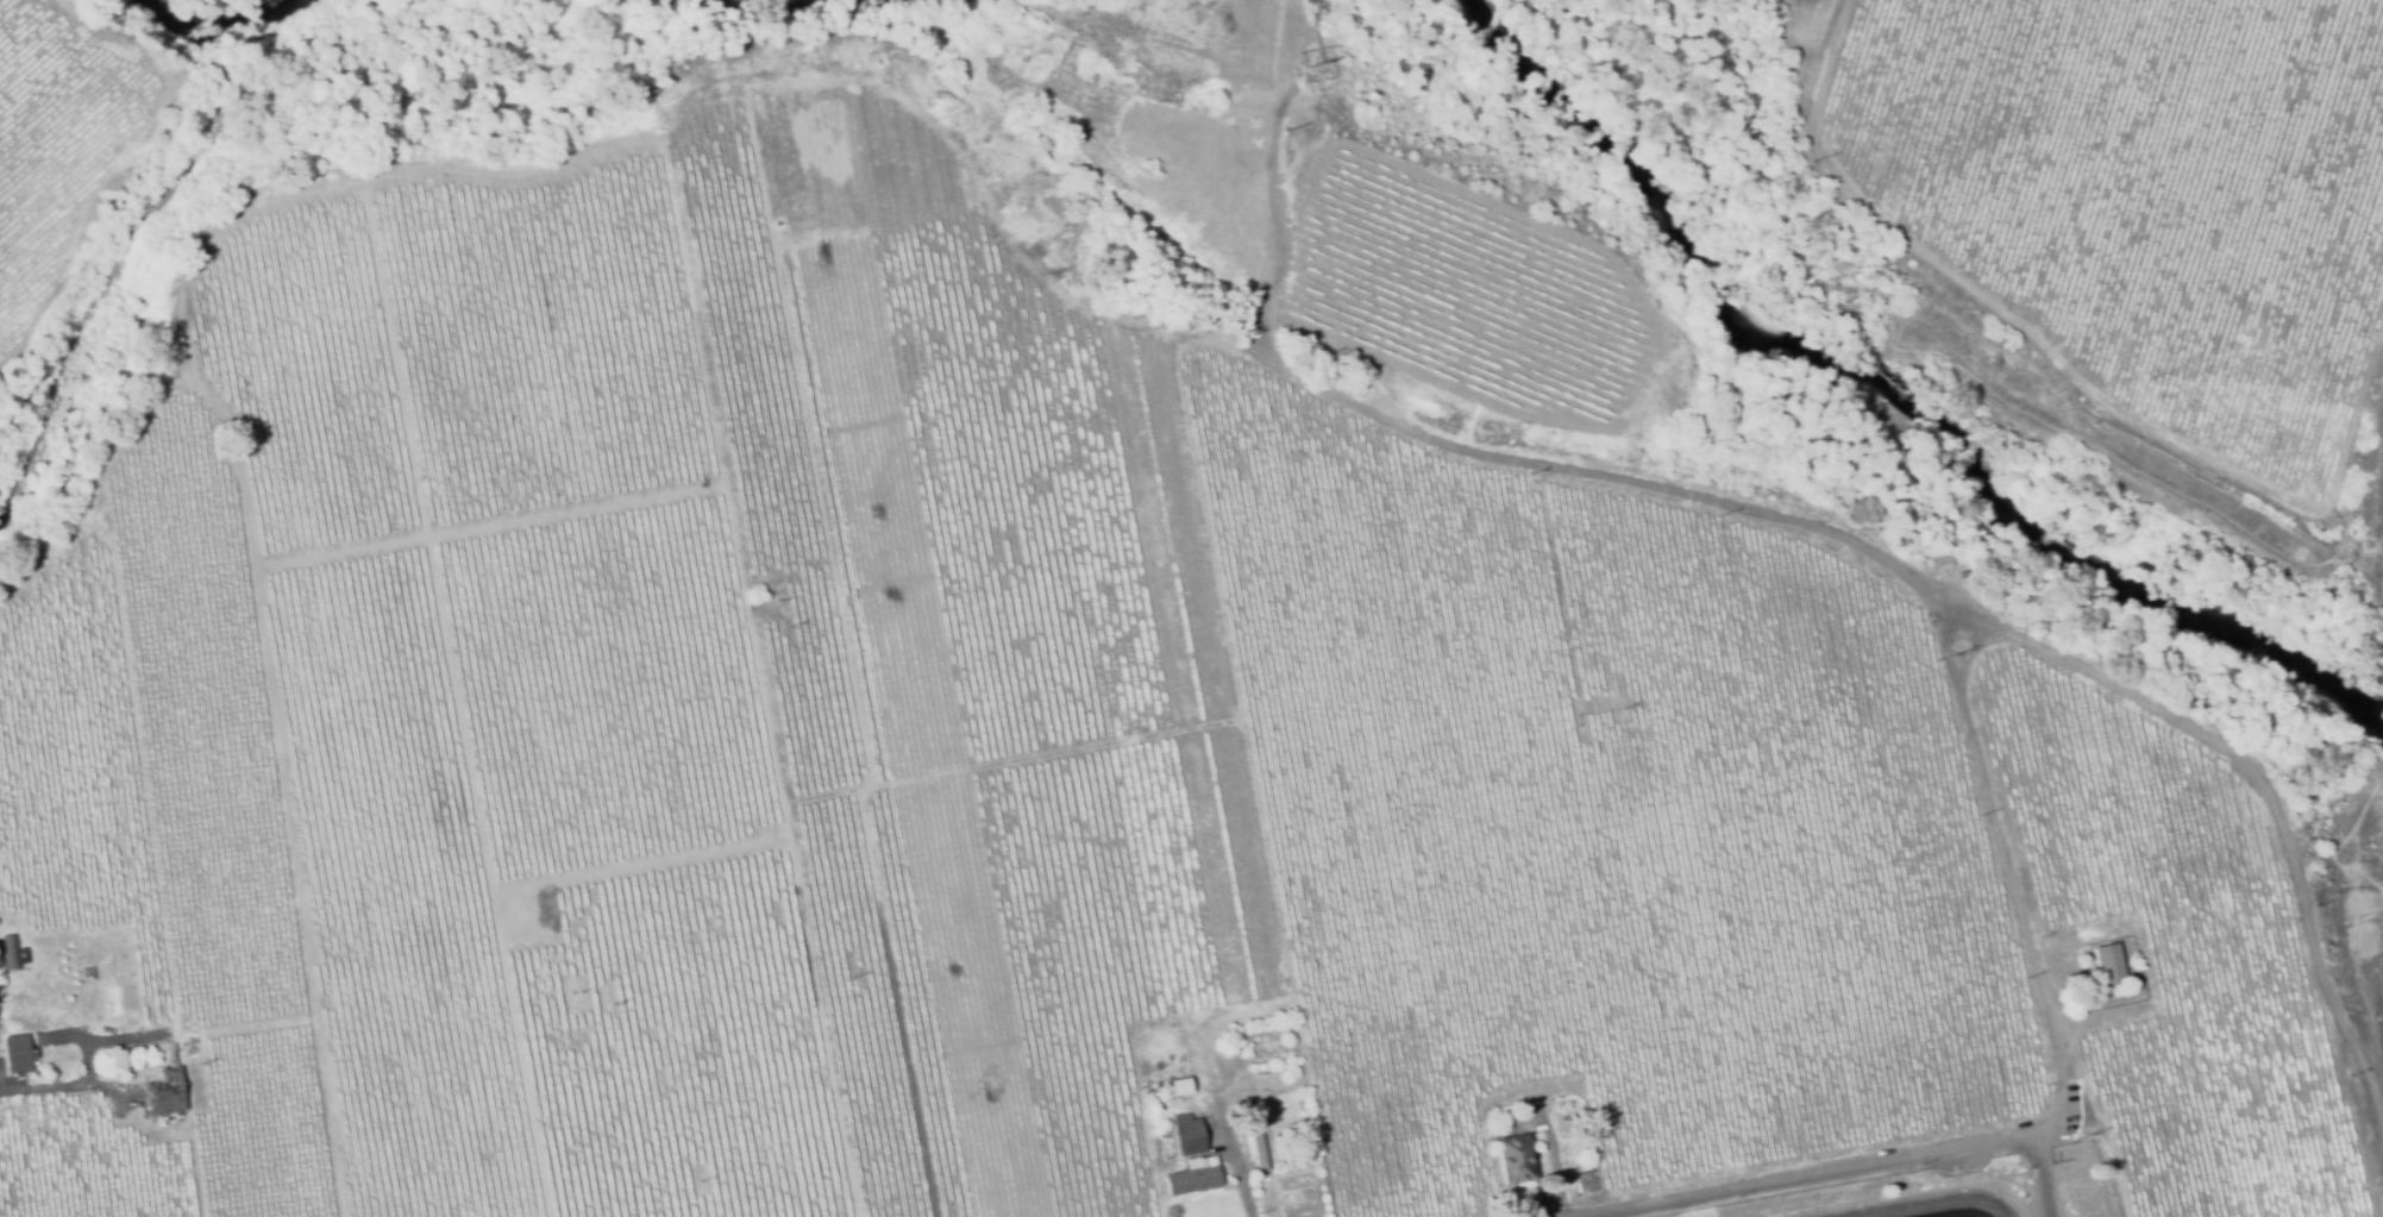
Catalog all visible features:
road: (1793, 517)
road: (2382, 689)
road: (2000, 841)
road: (2359, 946)
building: (7, 953)
building: (2107, 965)
building: (15, 1054)
road: (65, 1081)
building: (163, 1093)
building: (1506, 1112)
building: (1186, 1135)
building: (1255, 1149)
building: (1512, 1160)
road: (1236, 1161)
road: (1839, 1169)
road: (2042, 1175)
building: (1191, 1178)
building: (1581, 1180)
building: (2105, 1207)

